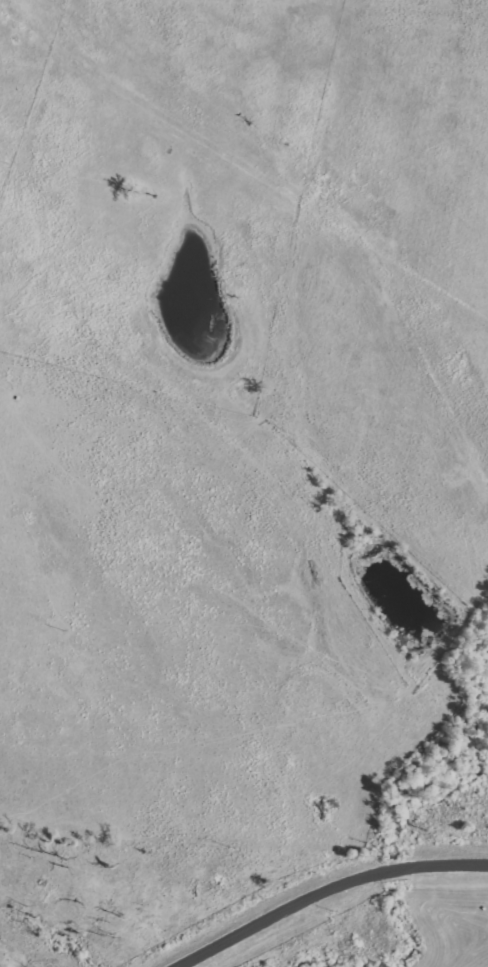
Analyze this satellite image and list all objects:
road: (325, 892)

